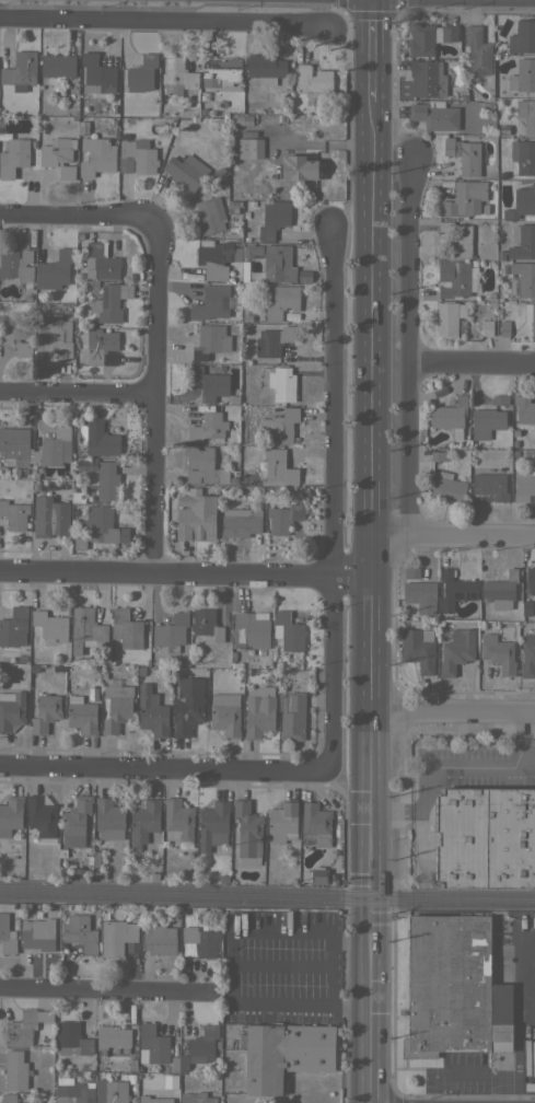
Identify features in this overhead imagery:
road: (167, 23)
building: (523, 36)
building: (428, 37)
road: (376, 48)
building: (476, 51)
building: (57, 65)
building: (265, 67)
building: (20, 70)
building: (96, 70)
building: (222, 70)
building: (178, 72)
building: (141, 73)
building: (523, 74)
building: (427, 78)
building: (312, 81)
building: (263, 82)
building: (112, 108)
building: (434, 115)
building: (526, 115)
building: (130, 119)
building: (242, 119)
building: (113, 121)
building: (82, 128)
building: (502, 129)
building: (33, 143)
building: (249, 148)
building: (462, 154)
building: (58, 155)
building: (96, 155)
building: (523, 155)
building: (13, 156)
building: (137, 156)
building: (300, 167)
building: (185, 171)
building: (502, 174)
building: (445, 183)
building: (464, 198)
building: (252, 202)
building: (522, 202)
building: (482, 207)
building: (245, 213)
building: (210, 214)
building: (488, 216)
road: (74, 218)
building: (274, 219)
building: (231, 230)
building: (246, 239)
building: (457, 239)
building: (522, 242)
building: (252, 251)
building: (500, 255)
building: (213, 258)
building: (101, 260)
building: (278, 263)
building: (16, 265)
building: (503, 268)
building: (57, 269)
building: (244, 271)
building: (303, 276)
building: (457, 278)
building: (522, 279)
building: (94, 289)
building: (485, 294)
building: (281, 301)
building: (111, 302)
building: (210, 303)
building: (530, 315)
building: (449, 316)
building: (246, 317)
building: (487, 327)
building: (503, 327)
building: (16, 336)
building: (54, 337)
building: (274, 340)
road: (408, 340)
building: (210, 341)
building: (95, 345)
building: (109, 360)
road: (472, 363)
building: (209, 383)
building: (281, 384)
road: (77, 395)
road: (152, 395)
building: (234, 399)
building: (500, 399)
building: (524, 409)
building: (450, 416)
building: (281, 425)
building: (485, 425)
building: (207, 427)
building: (514, 432)
building: (101, 440)
building: (514, 443)
building: (15, 444)
building: (53, 446)
building: (514, 452)
building: (439, 455)
building: (203, 466)
building: (275, 466)
building: (107, 480)
building: (232, 480)
building: (490, 486)
building: (524, 486)
building: (447, 487)
road: (329, 497)
building: (78, 512)
building: (14, 514)
building: (49, 516)
building: (283, 518)
building: (195, 519)
road: (376, 521)
building: (240, 522)
building: (103, 524)
road: (455, 535)
building: (80, 542)
road: (187, 572)
building: (411, 572)
building: (531, 579)
building: (455, 590)
building: (500, 590)
building: (419, 596)
building: (526, 607)
building: (50, 625)
building: (206, 625)
building: (14, 627)
building: (126, 628)
building: (86, 630)
building: (251, 630)
building: (171, 631)
building: (288, 631)
building: (419, 649)
building: (456, 650)
building: (498, 653)
building: (231, 654)
building: (527, 657)
building: (21, 658)
building: (233, 664)
building: (33, 666)
building: (94, 667)
building: (139, 671)
building: (247, 671)
building: (103, 675)
building: (92, 692)
building: (116, 705)
building: (187, 706)
building: (11, 710)
building: (151, 711)
road: (455, 711)
building: (258, 712)
building: (45, 713)
building: (225, 713)
building: (81, 715)
building: (292, 716)
road: (522, 740)
road: (435, 767)
road: (160, 769)
building: (11, 814)
building: (40, 816)
building: (108, 818)
building: (177, 820)
building: (143, 821)
building: (75, 822)
building: (282, 822)
building: (213, 823)
building: (315, 825)
building: (247, 833)
building: (486, 838)
building: (97, 874)
building: (315, 874)
building: (154, 875)
building: (222, 879)
building: (333, 882)
railway: (267, 887)
railway: (267, 901)
road: (255, 931)
building: (80, 932)
building: (7, 936)
building: (36, 936)
building: (118, 938)
building: (160, 939)
road: (353, 940)
building: (198, 941)
road: (332, 973)
road: (375, 978)
building: (451, 987)
road: (105, 989)
road: (269, 1009)
road: (353, 1010)
building: (223, 1027)
building: (21, 1030)
building: (113, 1038)
building: (72, 1040)
building: (153, 1043)
building: (218, 1044)
building: (199, 1047)
building: (283, 1054)
road: (375, 1057)
building: (131, 1064)
building: (174, 1064)
building: (15, 1070)
building: (127, 1076)
building: (74, 1091)
building: (112, 1092)
building: (197, 1098)
building: (11, 1099)
building: (153, 1099)

